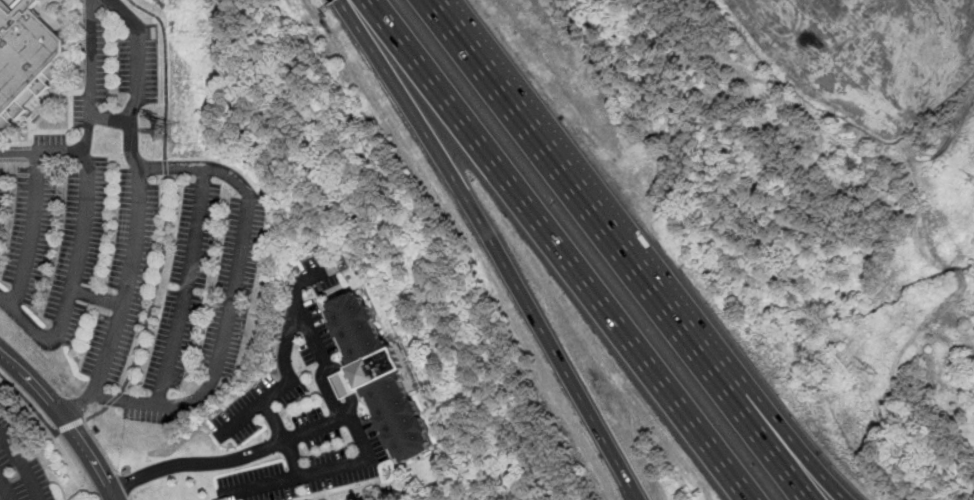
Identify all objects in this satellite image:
building: (17, 4)
building: (26, 60)
road: (165, 70)
road: (91, 75)
parking lot: (116, 76)
road: (110, 118)
power tower: (168, 139)
road: (18, 152)
road: (166, 167)
road: (584, 197)
road: (245, 220)
road: (84, 225)
road: (30, 230)
road: (495, 245)
road: (557, 250)
parking lot: (128, 273)
parking lot: (314, 276)
road: (128, 282)
road: (187, 285)
road: (156, 286)
road: (98, 297)
road: (260, 316)
road: (24, 319)
road: (324, 361)
parking lot: (287, 372)
power tower: (872, 373)
building: (381, 376)
road: (281, 387)
road: (328, 393)
road: (112, 400)
road: (29, 401)
road: (93, 415)
road: (65, 417)
road: (374, 419)
road: (69, 426)
road: (282, 438)
road: (793, 445)
road: (102, 448)
road: (770, 449)
parking lot: (313, 459)
road: (196, 463)
road: (79, 464)
road: (22, 465)
parking lot: (19, 470)
road: (318, 472)
road: (127, 484)
road: (6, 488)
road: (129, 498)

